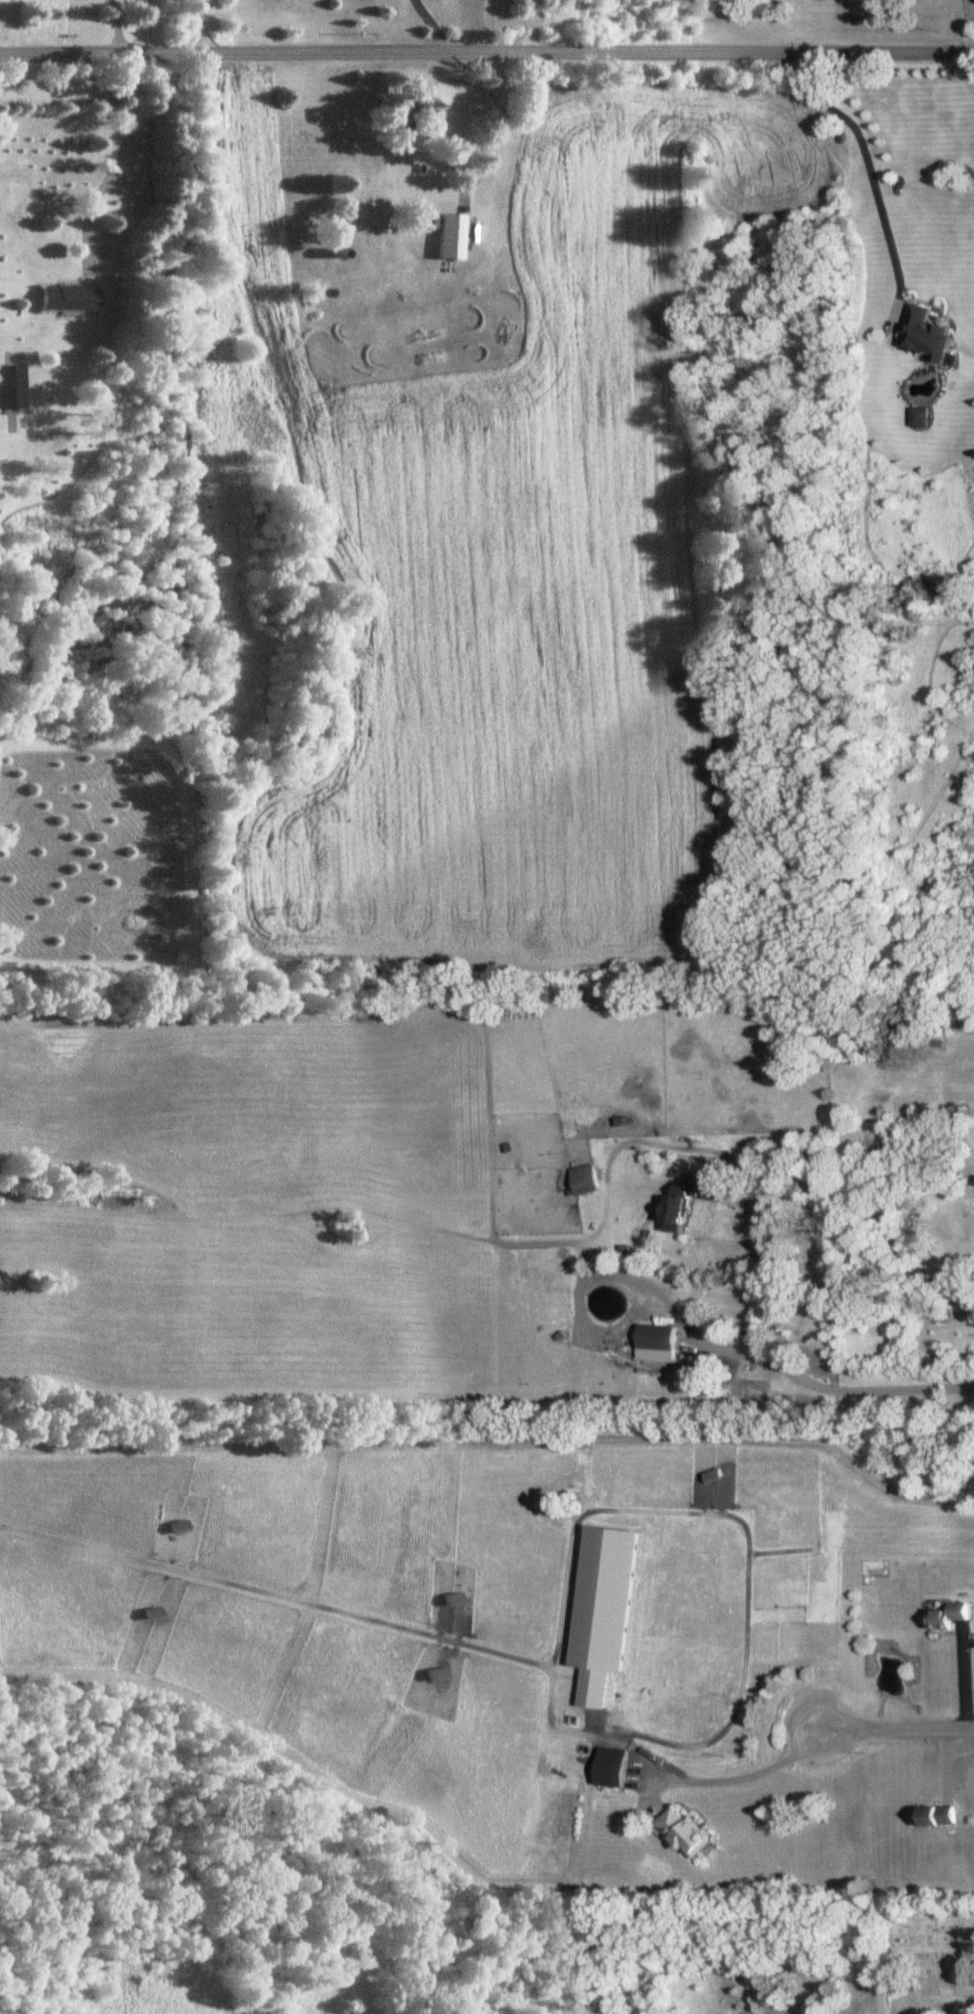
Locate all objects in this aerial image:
road: (432, 22)
road: (492, 23)
road: (119, 24)
road: (204, 24)
road: (486, 47)
building: (408, 114)
road: (119, 148)
road: (865, 154)
road: (486, 166)
building: (357, 234)
building: (72, 298)
building: (922, 335)
building: (12, 388)
building: (584, 1180)
building: (687, 1194)
building: (657, 1337)
road: (789, 1367)
building: (948, 1614)
road: (966, 1678)
road: (899, 1730)
building: (611, 1762)
road: (948, 1763)
road: (730, 1780)
building: (936, 1815)
building: (682, 1832)
road: (934, 1948)
park: (931, 1950)
road: (897, 1992)

